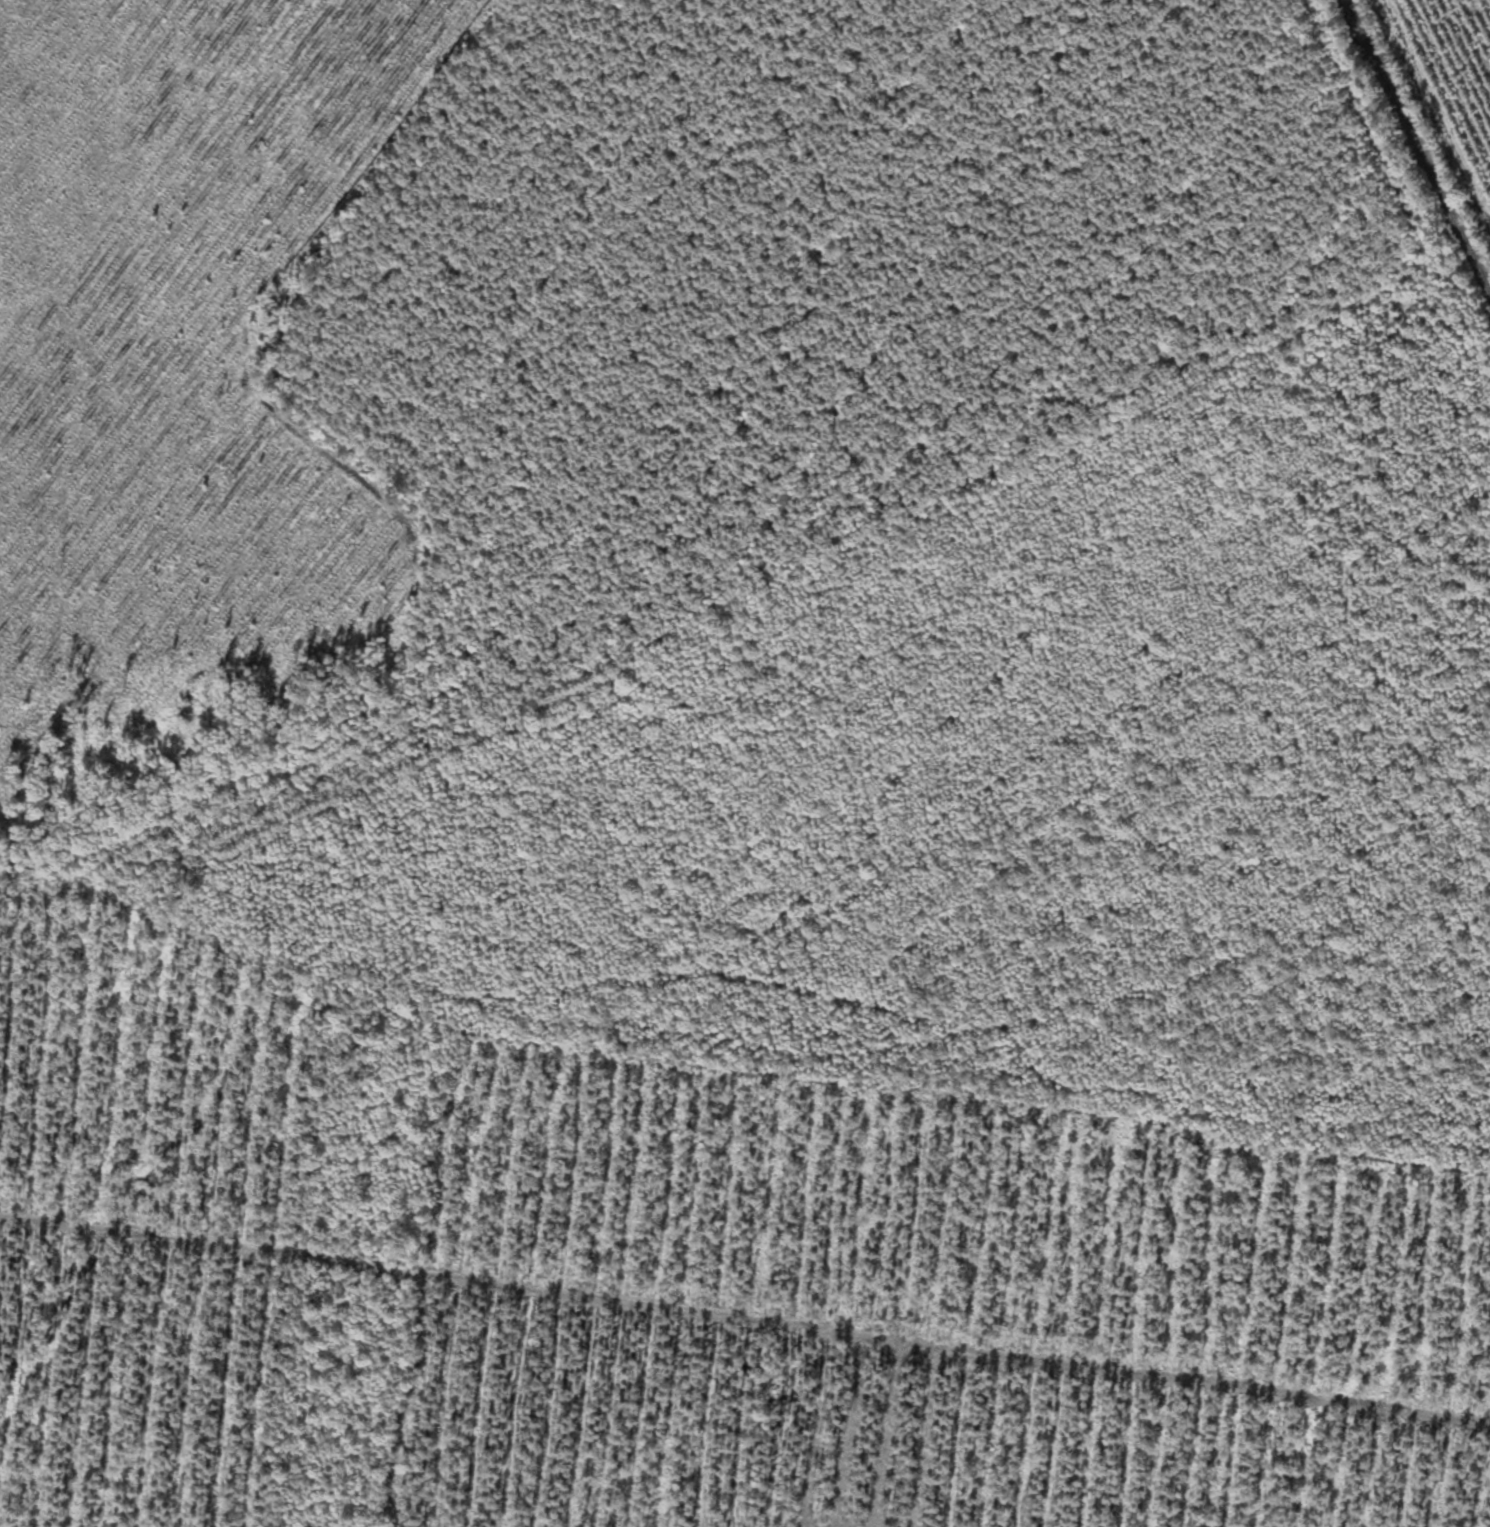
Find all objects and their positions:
railway: (1421, 141)

